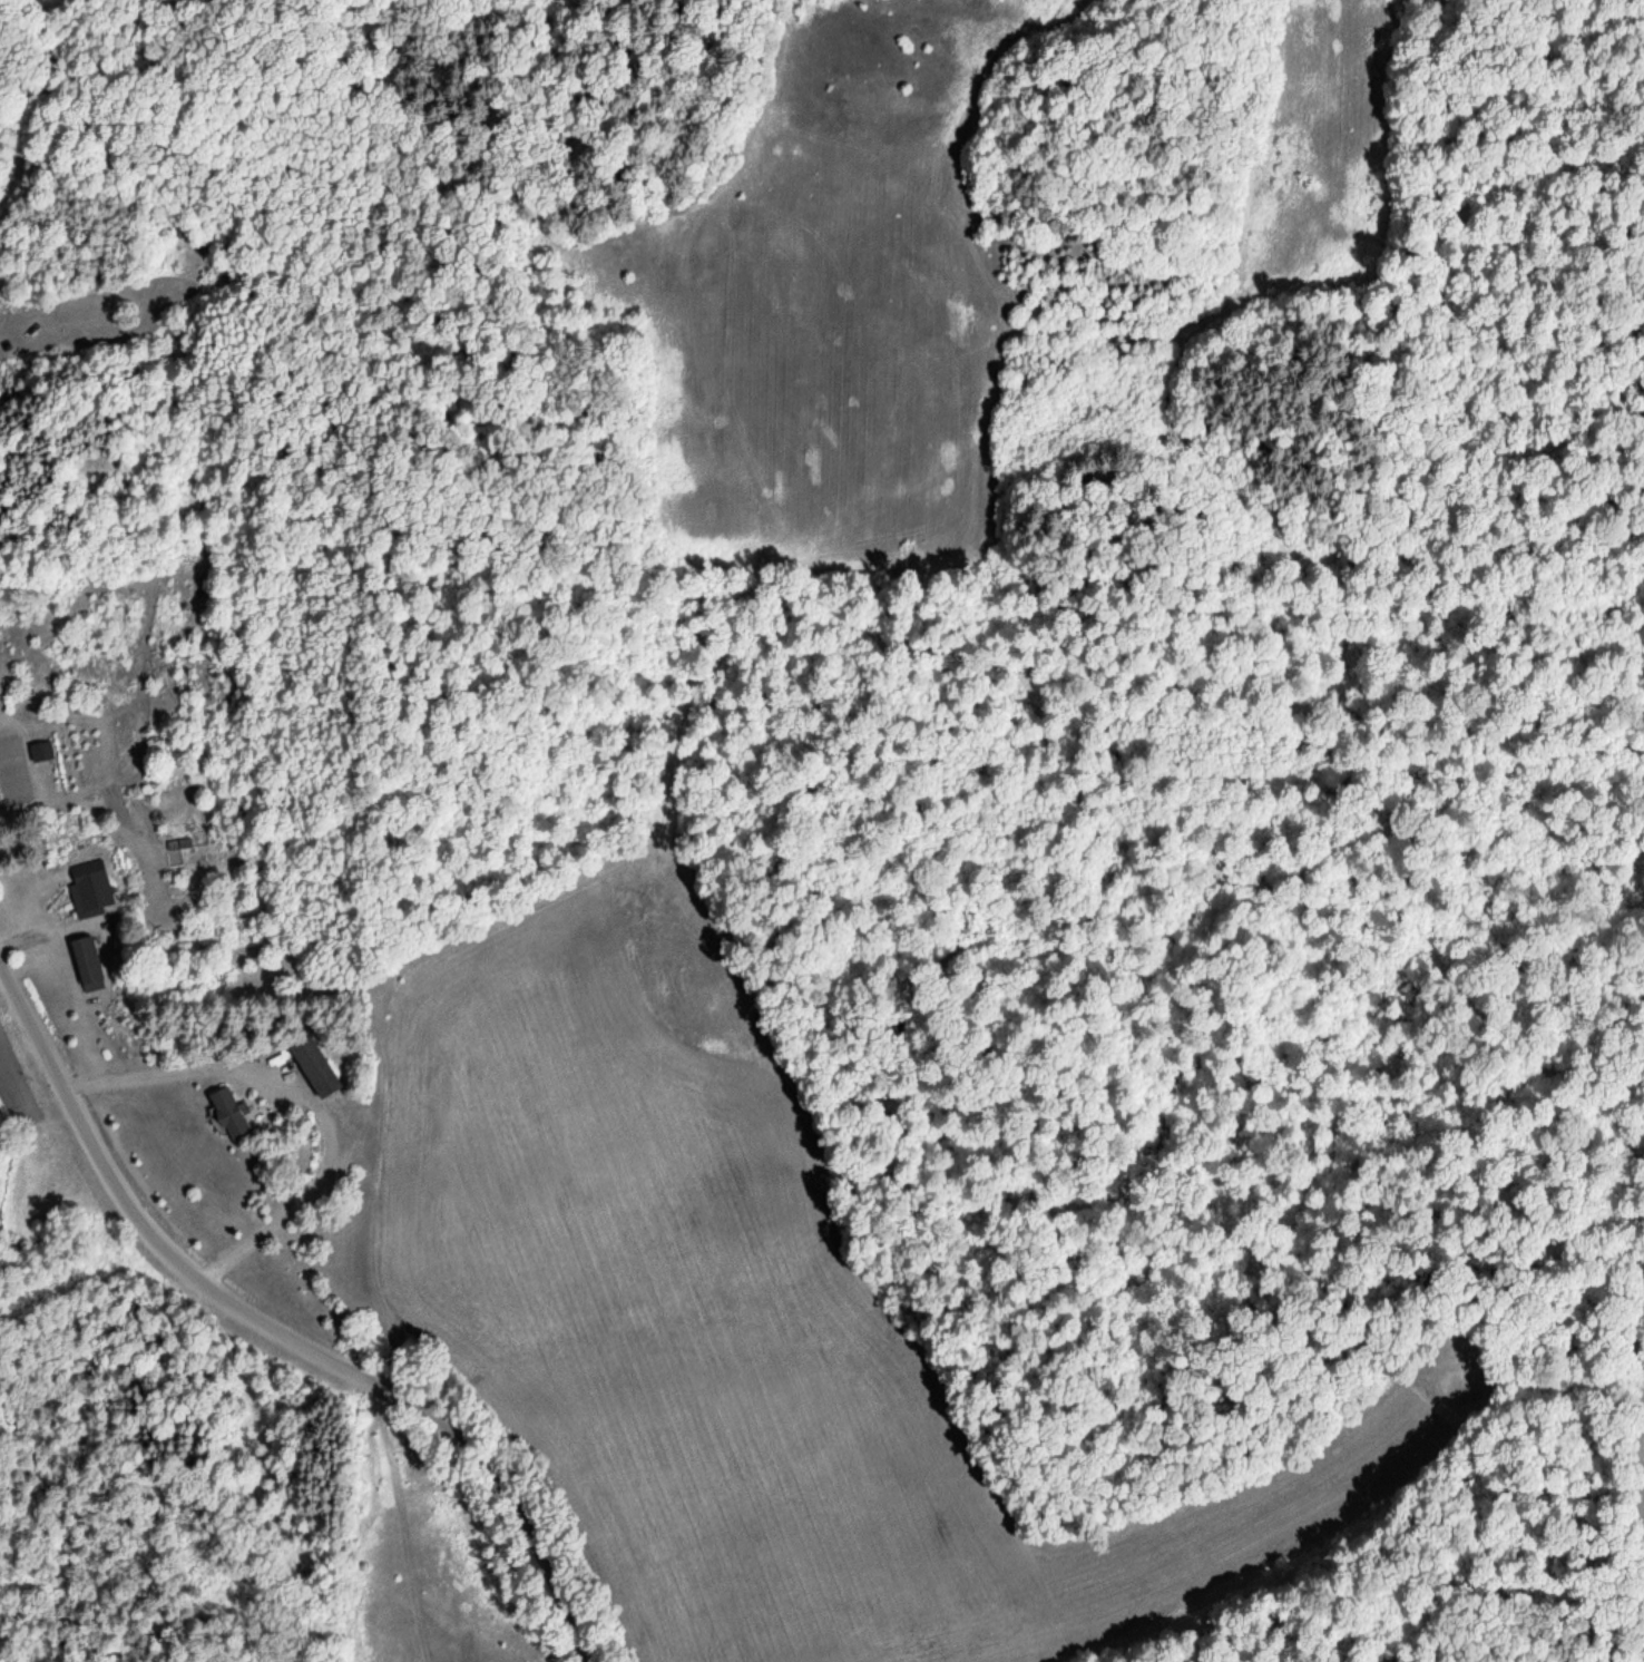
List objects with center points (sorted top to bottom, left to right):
building: (39, 753)
building: (182, 845)
building: (89, 891)
building: (87, 961)
building: (311, 1068)
building: (224, 1114)
building: (330, 1235)
road: (284, 1329)

